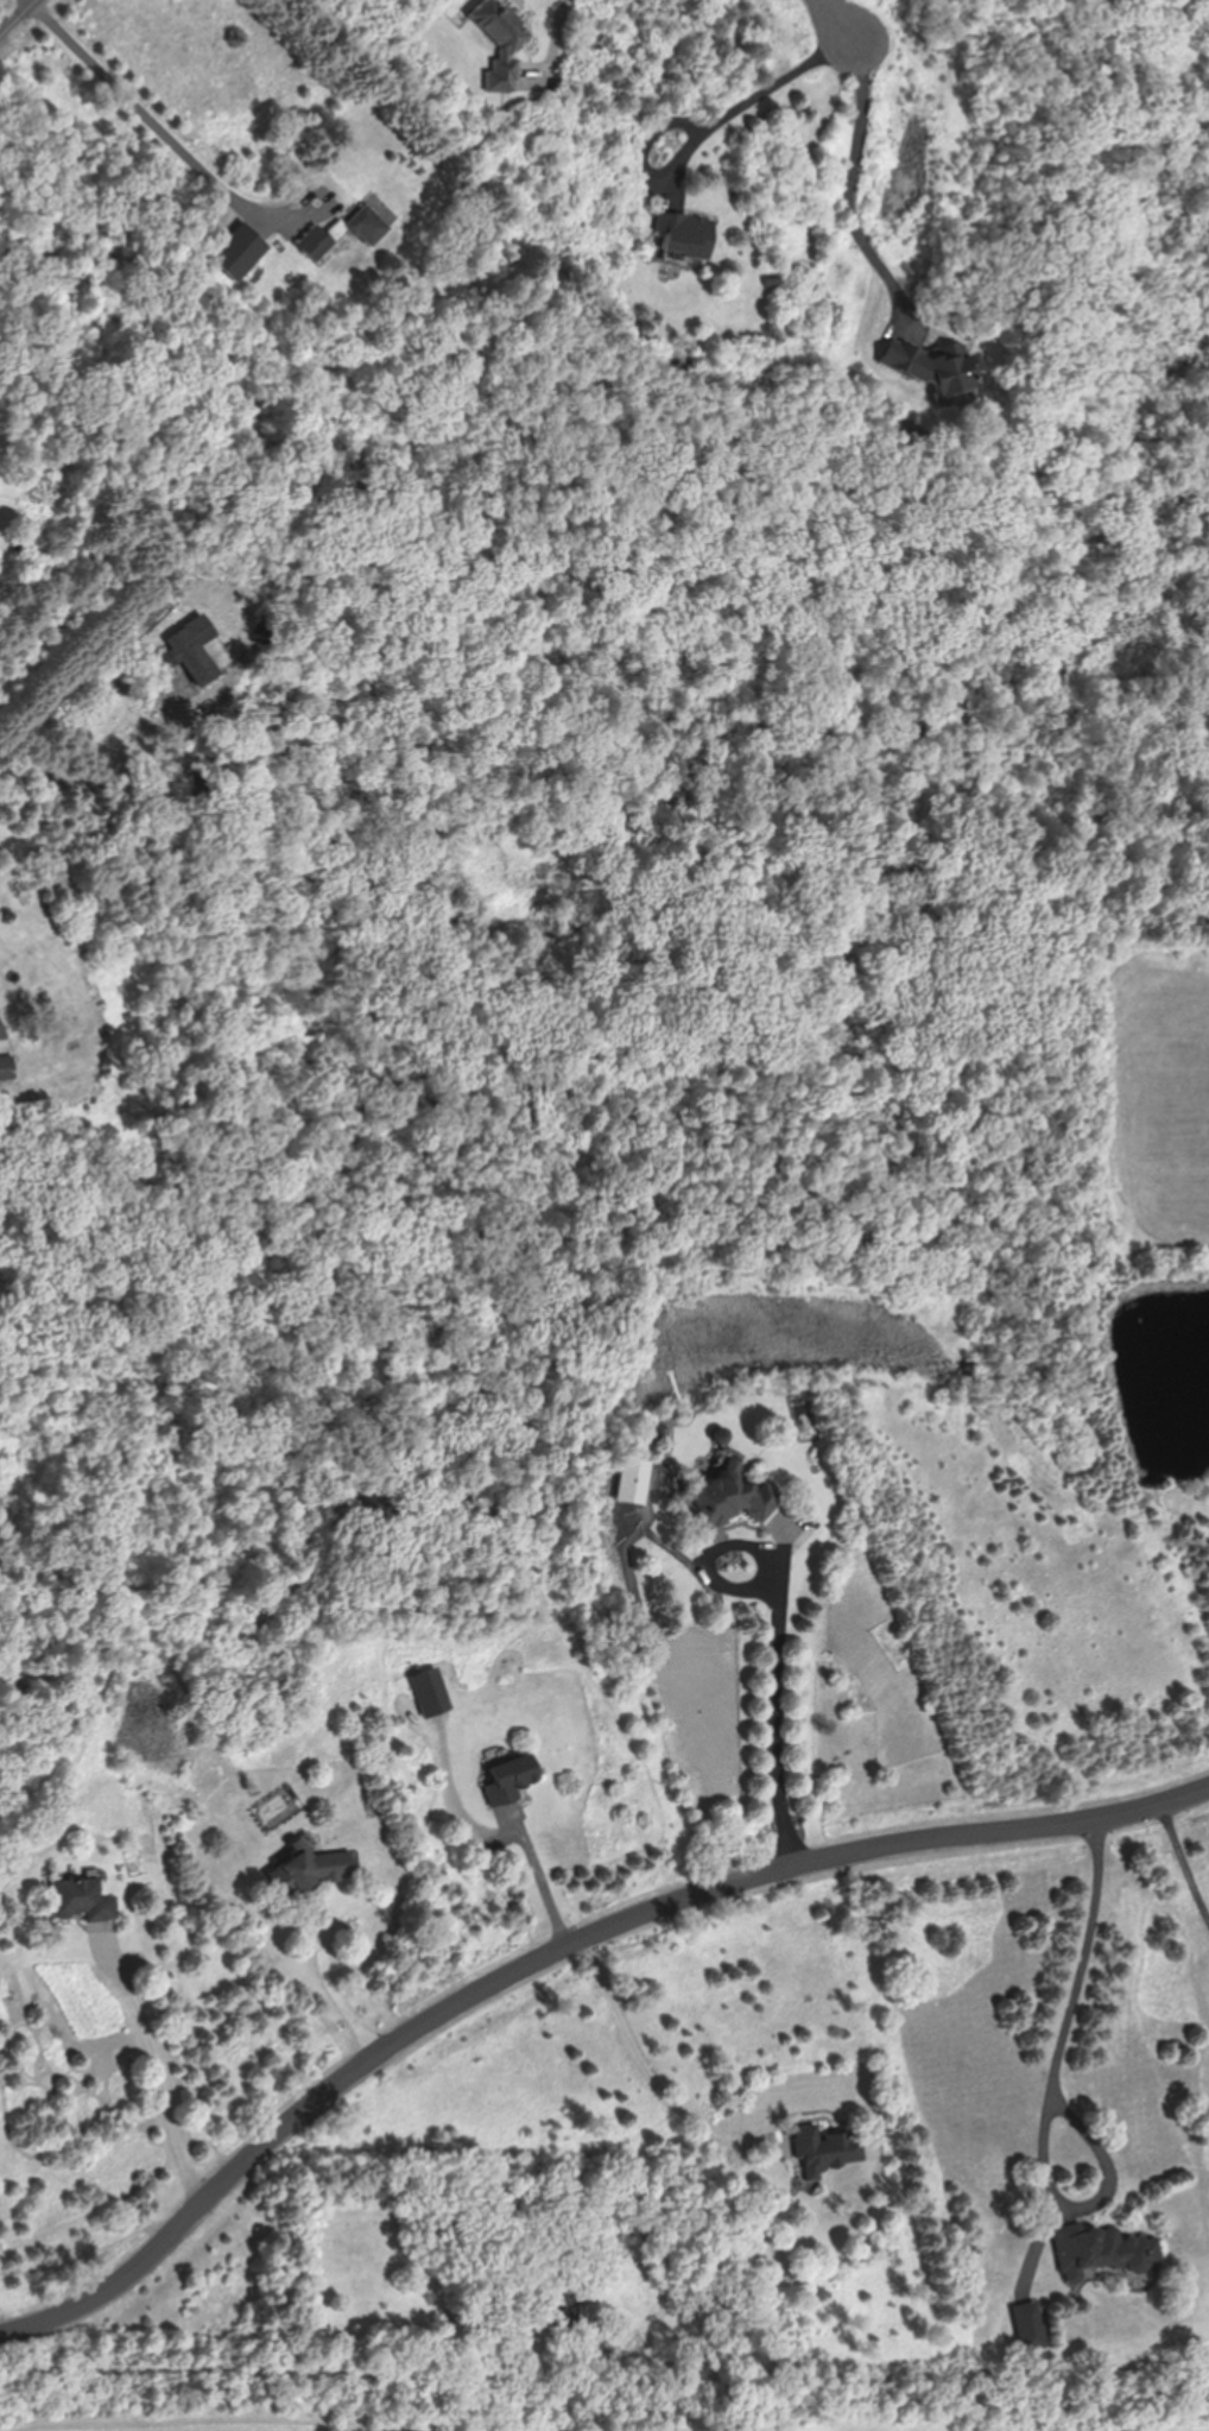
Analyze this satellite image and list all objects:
road: (13, 13)
road: (836, 21)
building: (504, 42)
road: (754, 105)
road: (146, 121)
road: (860, 188)
building: (369, 225)
building: (689, 233)
building: (316, 242)
building: (239, 251)
building: (936, 366)
building: (194, 650)
road: (4, 1050)
building: (7, 1067)
building: (633, 1478)
building: (733, 1494)
building: (426, 1693)
road: (773, 1715)
building: (511, 1775)
road: (1185, 1855)
building: (315, 1867)
road: (545, 1882)
building: (82, 1900)
road: (1088, 1952)
road: (555, 1955)
road: (329, 1975)
road: (162, 2067)
road: (654, 2084)
building: (825, 2149)
road: (1102, 2160)
building: (1102, 2250)
building: (562, 2309)
road: (202, 2367)

